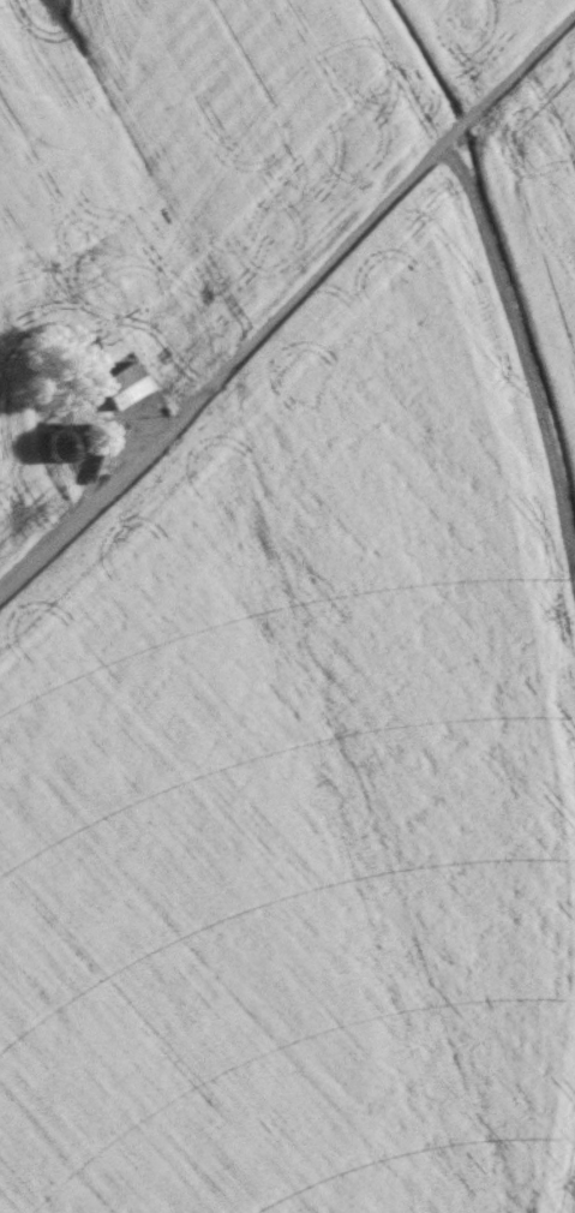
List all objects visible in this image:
road: (287, 303)
building: (122, 387)
road: (97, 442)
building: (61, 447)

